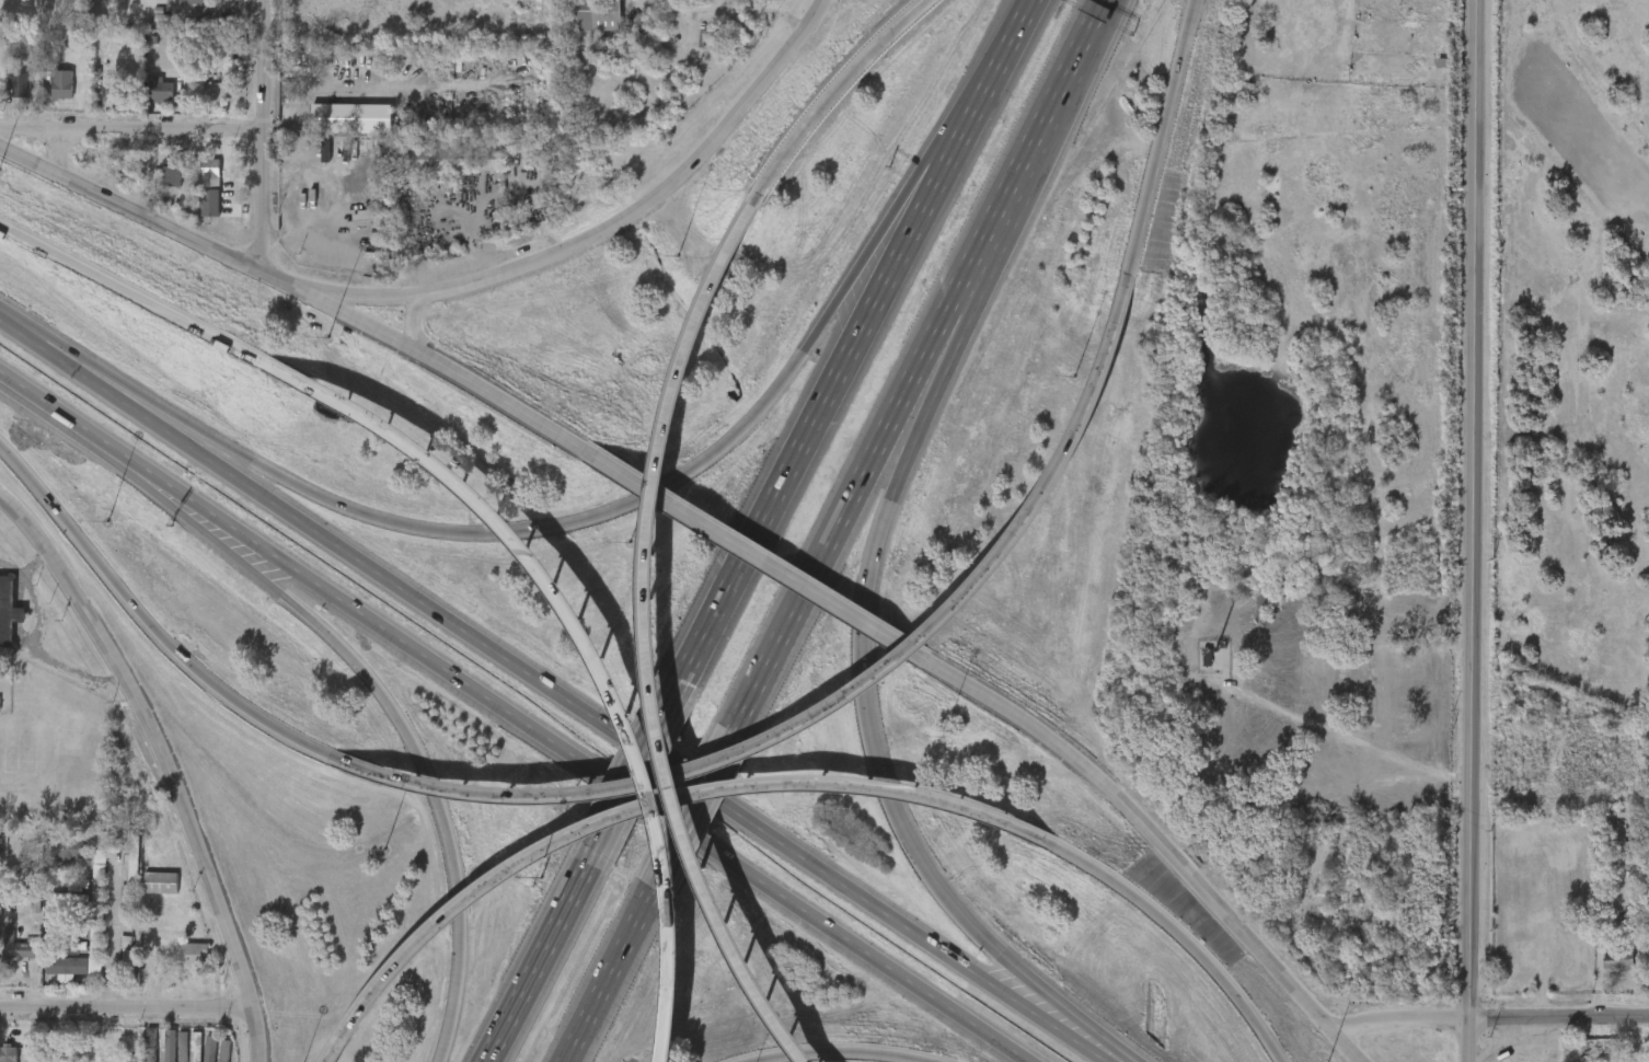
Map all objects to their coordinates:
building: (193, 2)
road: (727, 7)
building: (598, 15)
building: (574, 26)
road: (1015, 30)
road: (1087, 34)
building: (230, 47)
building: (61, 84)
building: (20, 89)
building: (159, 90)
building: (111, 91)
building: (48, 94)
road: (831, 94)
building: (8, 99)
building: (146, 99)
building: (93, 100)
road: (1045, 122)
building: (337, 127)
road: (135, 135)
road: (270, 135)
road: (1157, 142)
road: (930, 150)
building: (440, 155)
building: (171, 168)
building: (211, 174)
building: (155, 176)
building: (200, 184)
road: (662, 194)
road: (214, 246)
road: (136, 295)
road: (373, 296)
road: (970, 307)
road: (415, 321)
road: (21, 333)
road: (87, 368)
road: (835, 374)
road: (512, 405)
road: (69, 423)
road: (872, 450)
road: (181, 496)
road: (175, 505)
road: (1468, 512)
road: (543, 528)
road: (771, 562)
road: (25, 569)
building: (9, 612)
road: (152, 626)
road: (648, 642)
road: (590, 645)
road: (45, 653)
building: (1206, 657)
road: (840, 702)
road: (573, 705)
road: (867, 729)
road: (1335, 747)
road: (173, 759)
road: (420, 761)
road: (633, 771)
road: (625, 792)
road: (645, 809)
road: (691, 809)
building: (1579, 830)
road: (1153, 834)
building: (66, 847)
building: (55, 858)
road: (586, 864)
building: (84, 870)
building: (116, 873)
building: (130, 874)
building: (68, 880)
building: (161, 882)
building: (58, 891)
building: (147, 891)
building: (62, 908)
building: (64, 927)
road: (1179, 933)
road: (112, 937)
building: (0, 938)
building: (62, 939)
building: (21, 949)
building: (182, 949)
building: (129, 957)
building: (168, 958)
building: (1619, 958)
building: (13, 959)
building: (113, 961)
building: (68, 966)
building: (1603, 968)
road: (531, 969)
building: (53, 974)
building: (80, 974)
road: (608, 974)
road: (129, 1009)
road: (1071, 1019)
road: (1558, 1023)
road: (1397, 1025)
road: (157, 1040)
road: (1467, 1043)
road: (838, 1050)
road: (1342, 1050)
building: (8, 1053)
building: (186, 1060)
building: (199, 1061)

